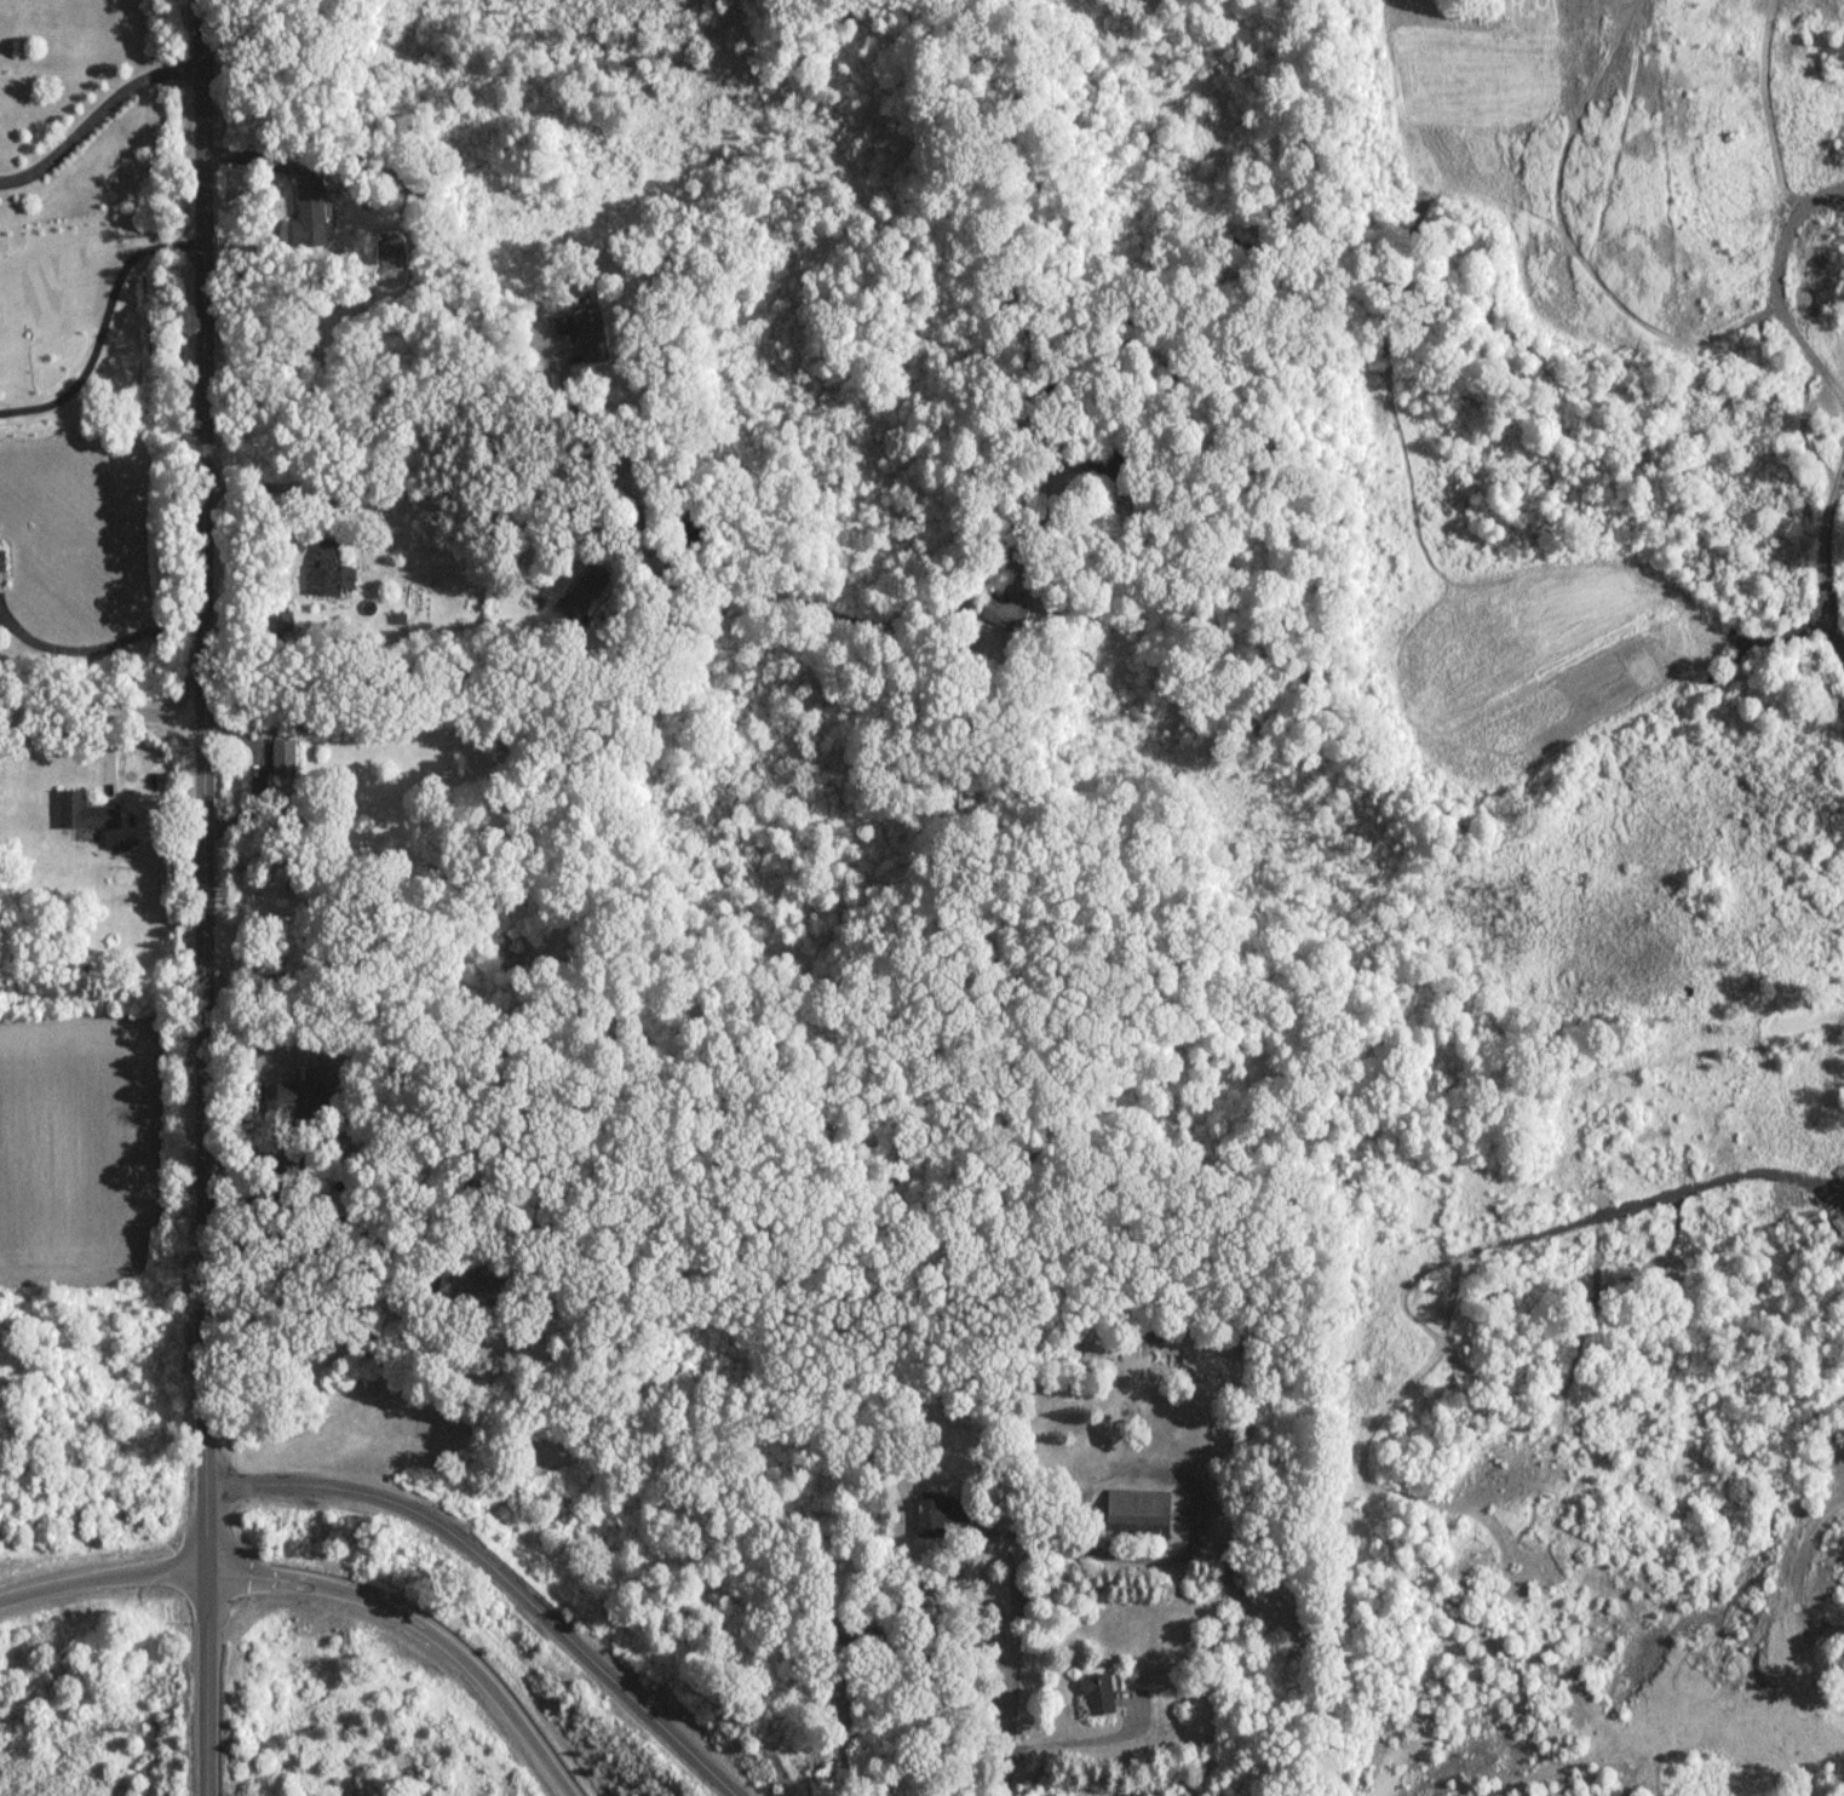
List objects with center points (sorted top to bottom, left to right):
road: (286, 30)
road: (92, 108)
road: (249, 147)
crop: (1541, 147)
building: (308, 213)
road: (1771, 285)
road: (103, 321)
building: (587, 337)
building: (1096, 452)
road: (472, 493)
road: (326, 505)
road: (1817, 545)
building: (0, 562)
building: (329, 570)
building: (584, 591)
road: (831, 606)
building: (999, 614)
building: (281, 626)
road: (97, 644)
road: (98, 715)
building: (281, 758)
road: (199, 785)
building: (84, 814)
building: (295, 1102)
crop: (74, 1157)
building: (467, 1285)
building: (937, 1514)
building: (1136, 1514)
road: (501, 1574)
road: (100, 1578)
road: (283, 1578)
road: (1011, 1657)
road: (483, 1677)
road: (203, 1683)
building: (1097, 1694)
road: (1081, 1738)

